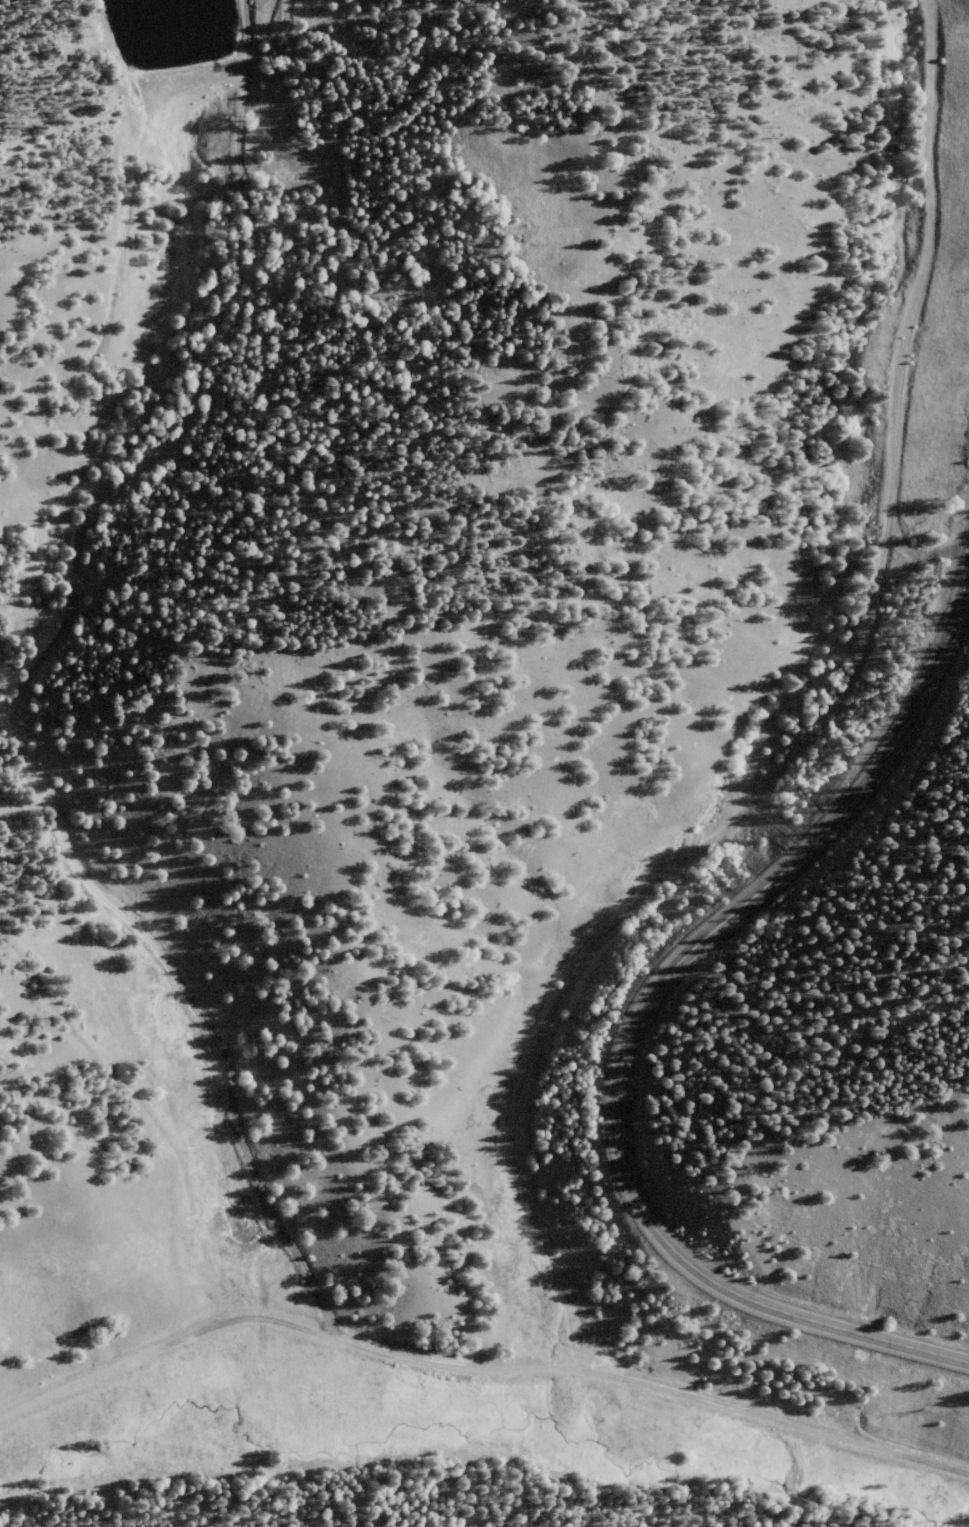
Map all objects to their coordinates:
road: (86, 667)
road: (805, 731)
road: (636, 1016)
road: (478, 1369)

